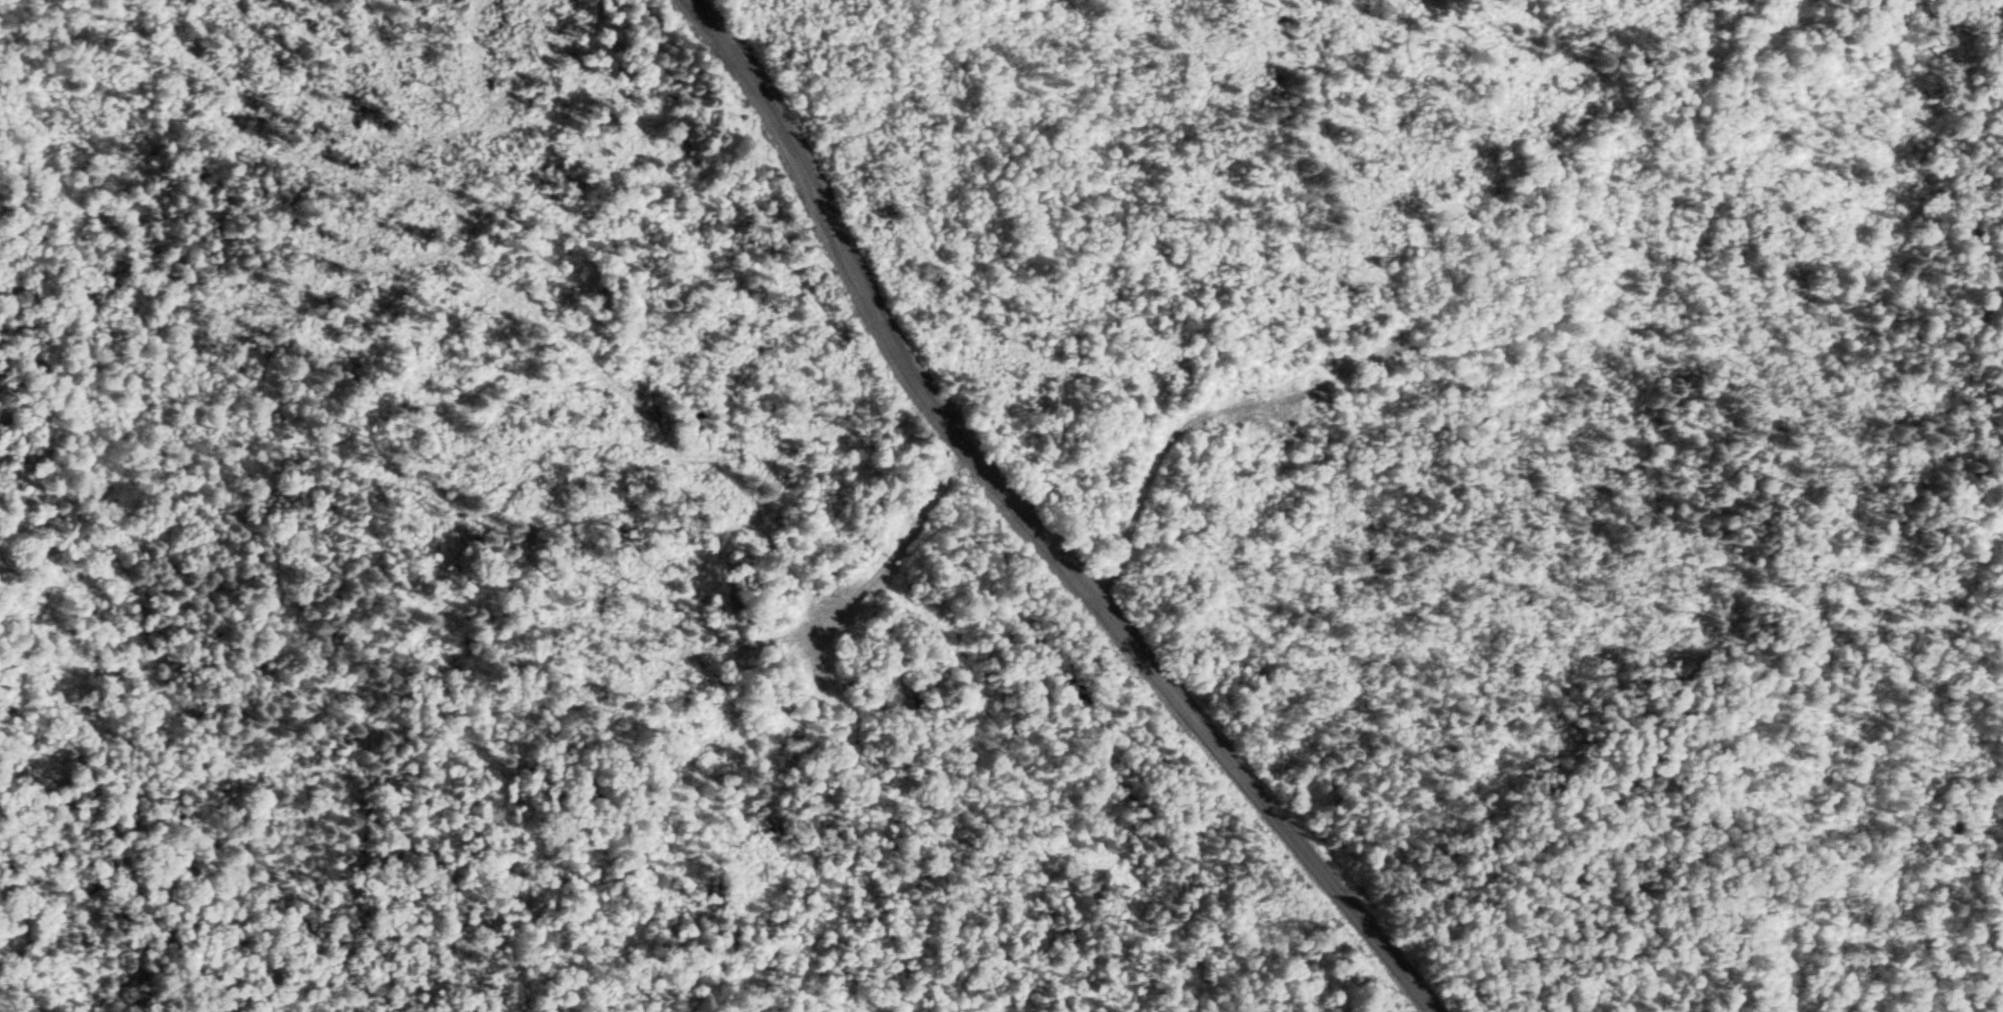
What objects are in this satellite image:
road: (1029, 527)

